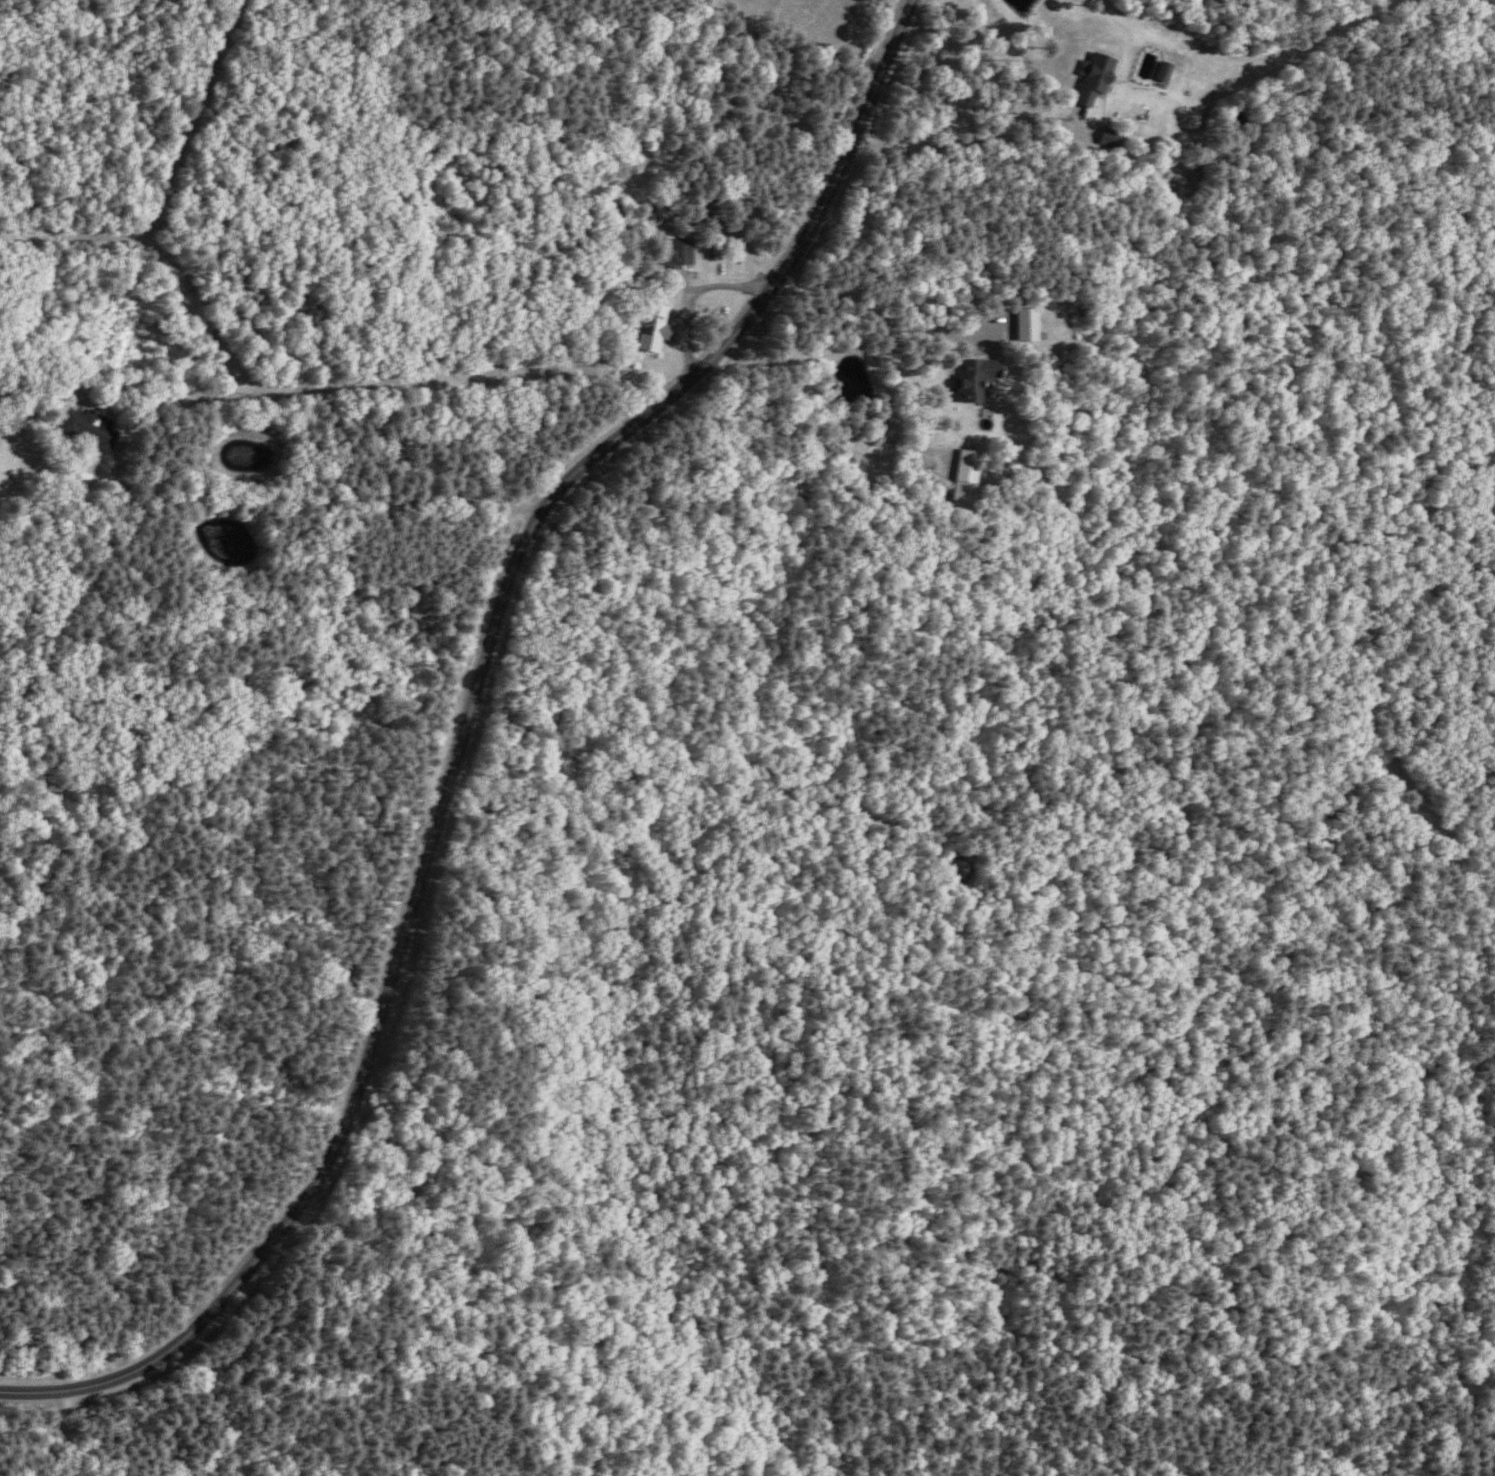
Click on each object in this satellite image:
road: (884, 69)
building: (1166, 70)
building: (1096, 77)
road: (972, 139)
building: (715, 211)
road: (811, 214)
building: (679, 251)
road: (706, 286)
road: (881, 321)
building: (1028, 322)
building: (658, 326)
road: (739, 327)
building: (978, 376)
road: (830, 402)
building: (92, 426)
road: (616, 436)
building: (968, 479)
road: (262, 506)
road: (372, 1041)

